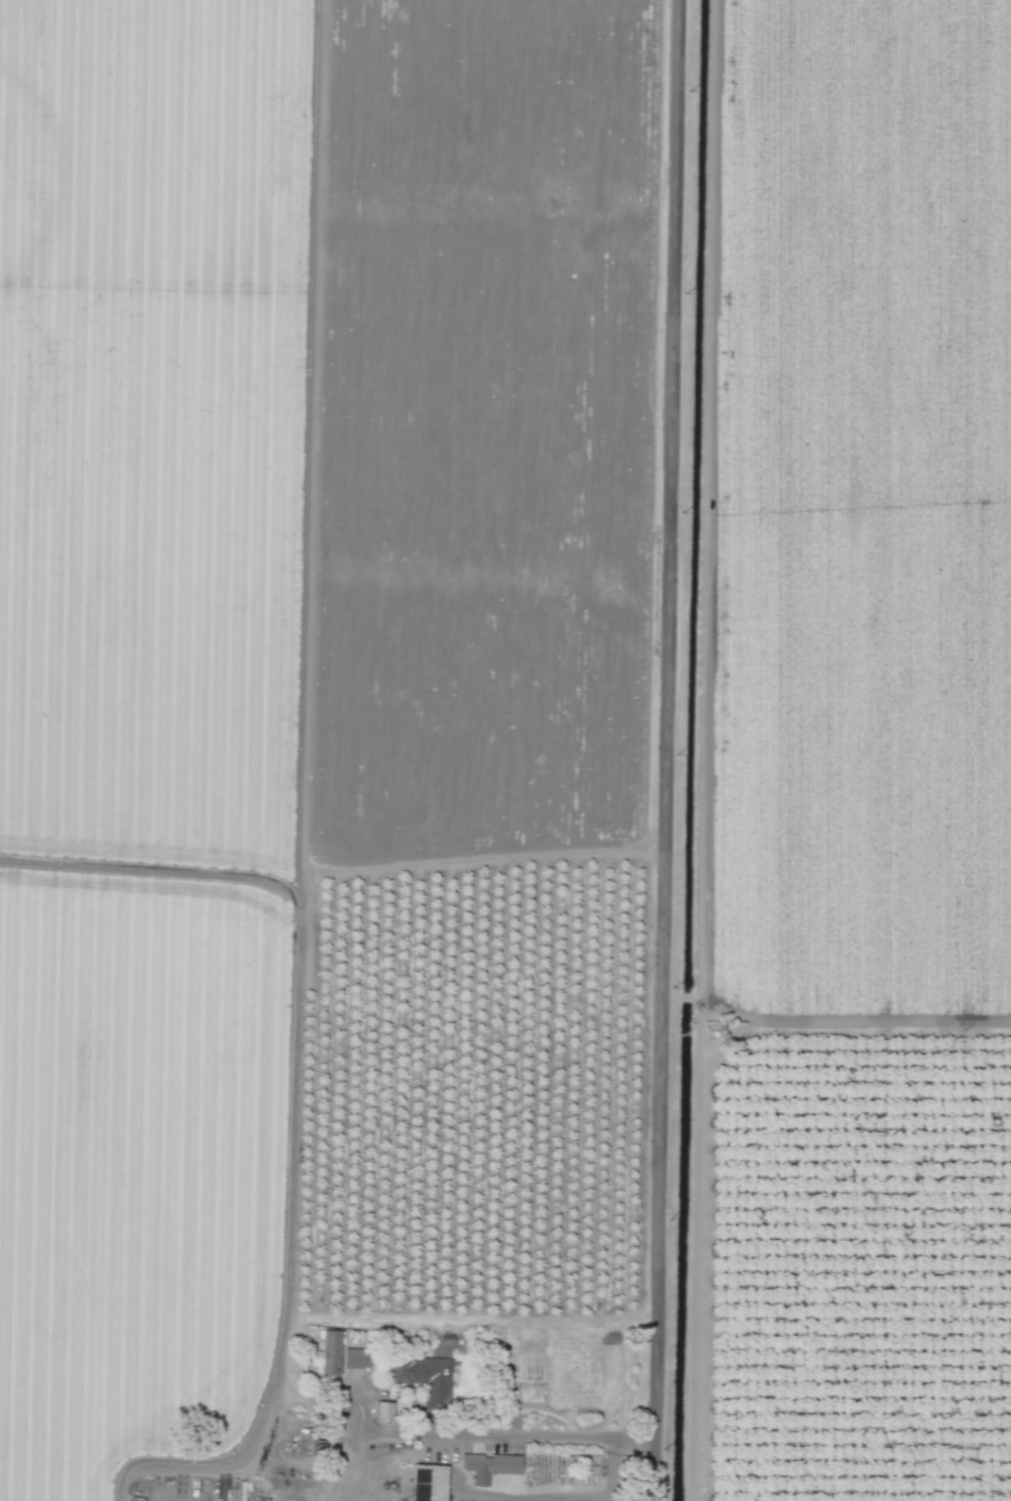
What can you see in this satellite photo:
road: (666, 750)
building: (327, 1354)
building: (351, 1359)
building: (423, 1377)
building: (383, 1410)
road: (464, 1435)
building: (489, 1466)
road: (607, 1470)
building: (427, 1483)

